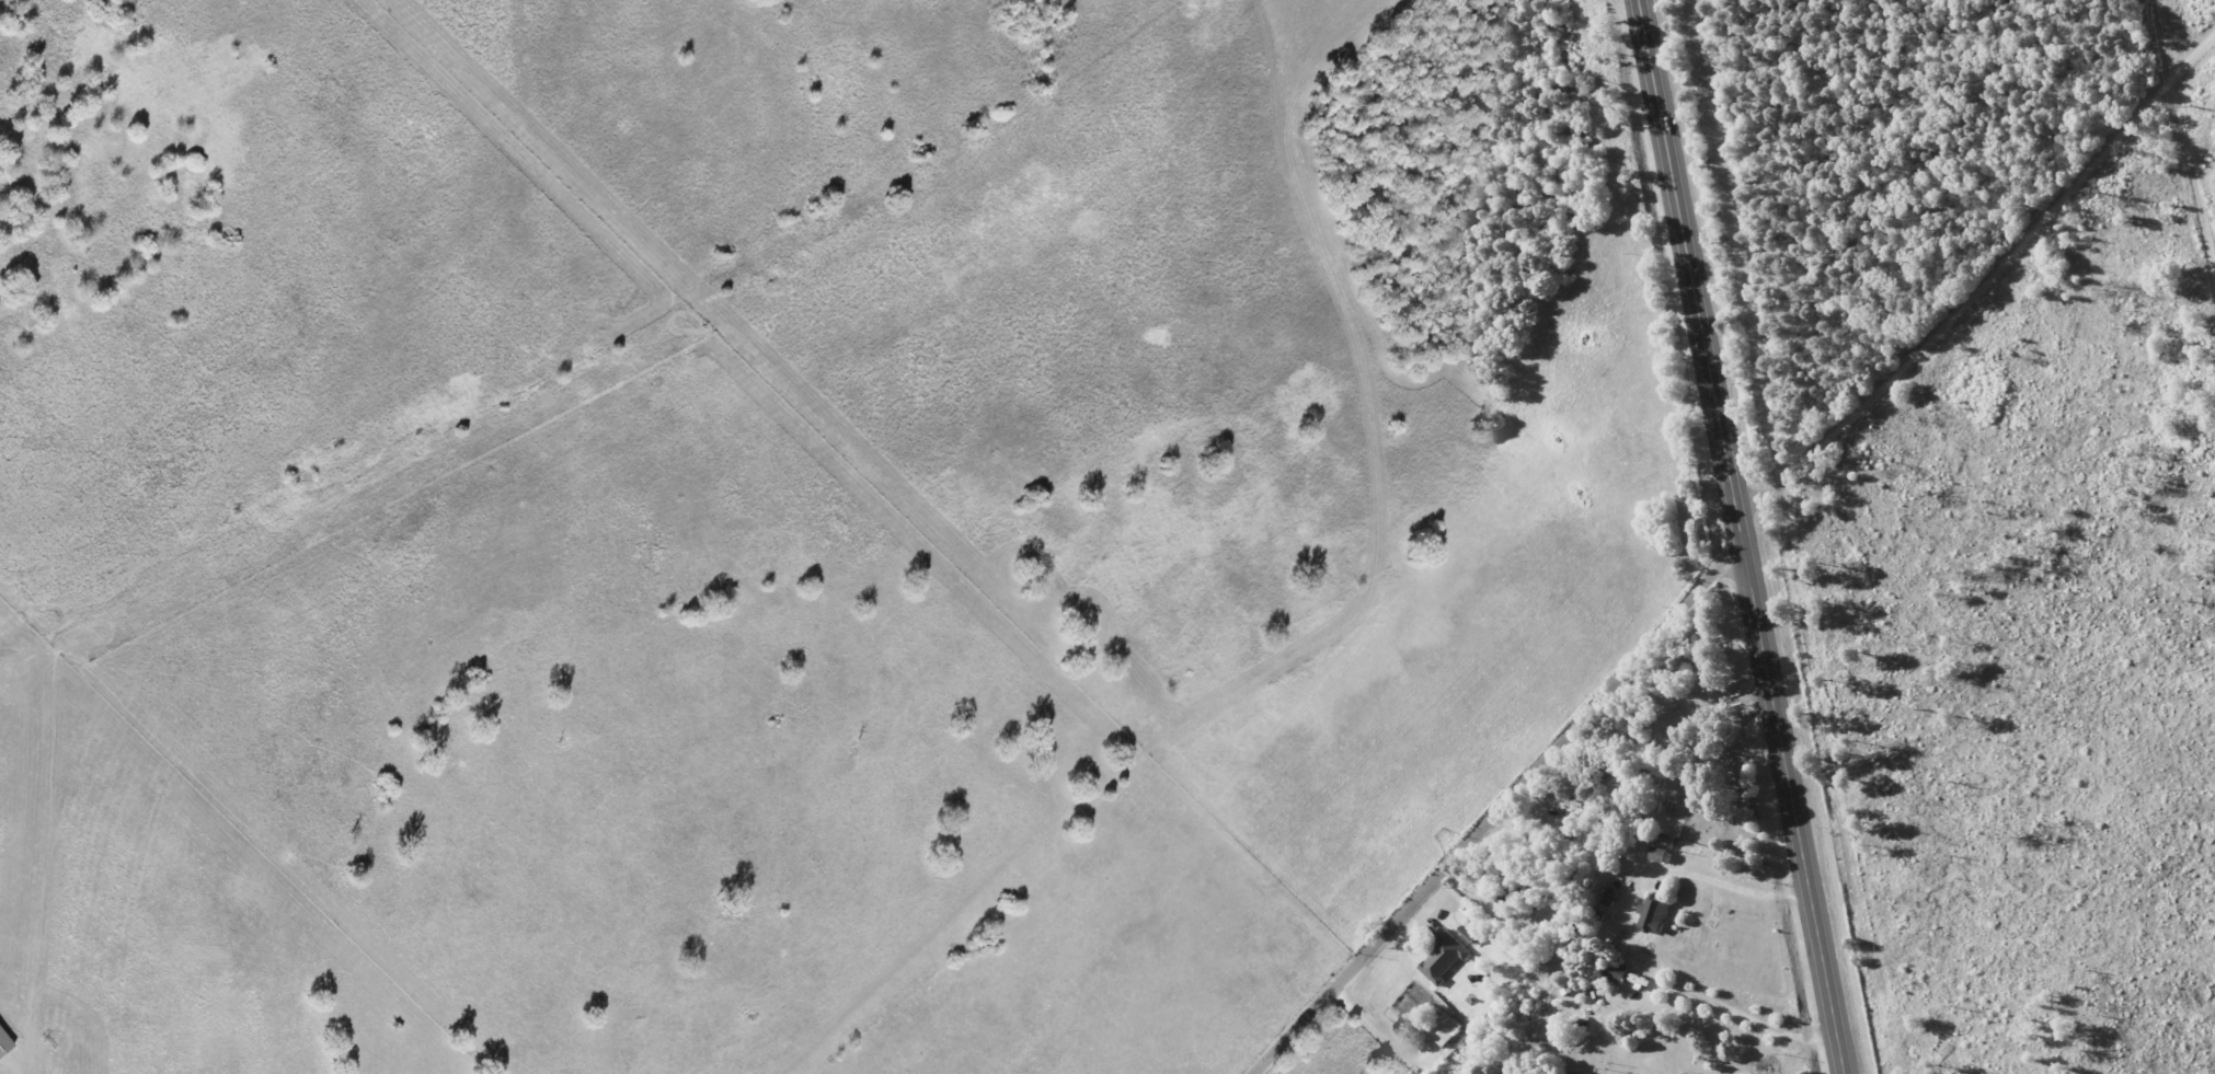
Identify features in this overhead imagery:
power tower: (2193, 107)
road: (1975, 280)
road: (1742, 536)
road: (1501, 805)
road: (1728, 882)
building: (1610, 898)
building: (1653, 915)
building: (1469, 932)
building: (1444, 957)
building: (1445, 1029)
road: (1744, 1031)
building: (4, 1042)

